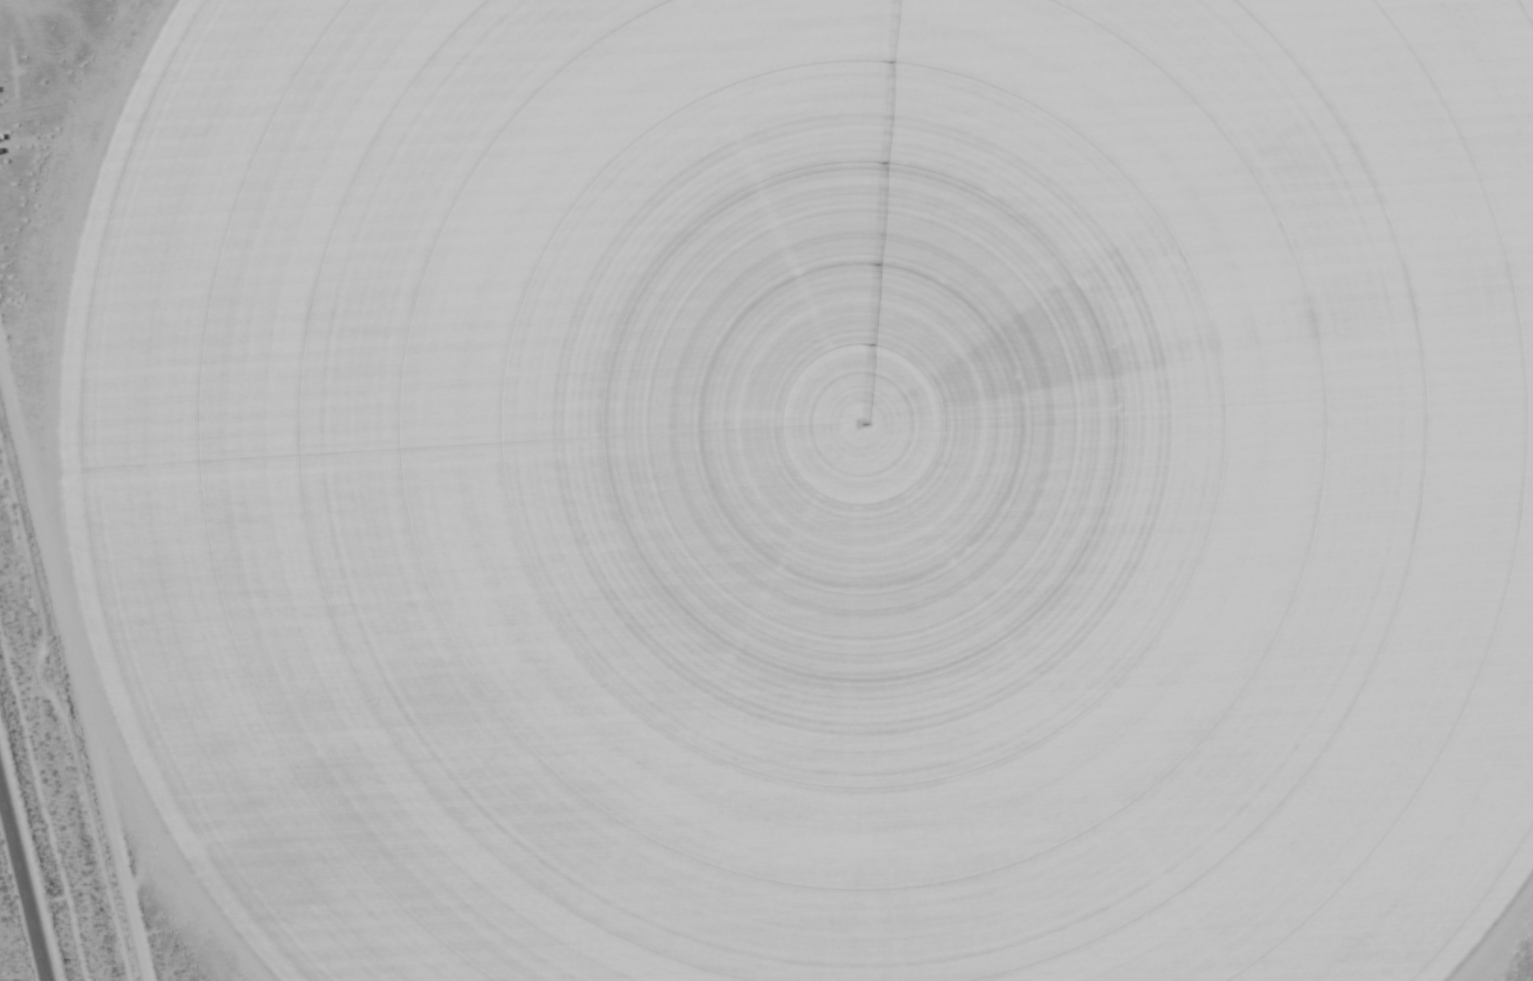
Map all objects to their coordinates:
building: (261, 427)
building: (433, 457)
crop: (803, 482)
building: (330, 532)
building: (647, 538)
building: (319, 574)
road: (23, 884)

